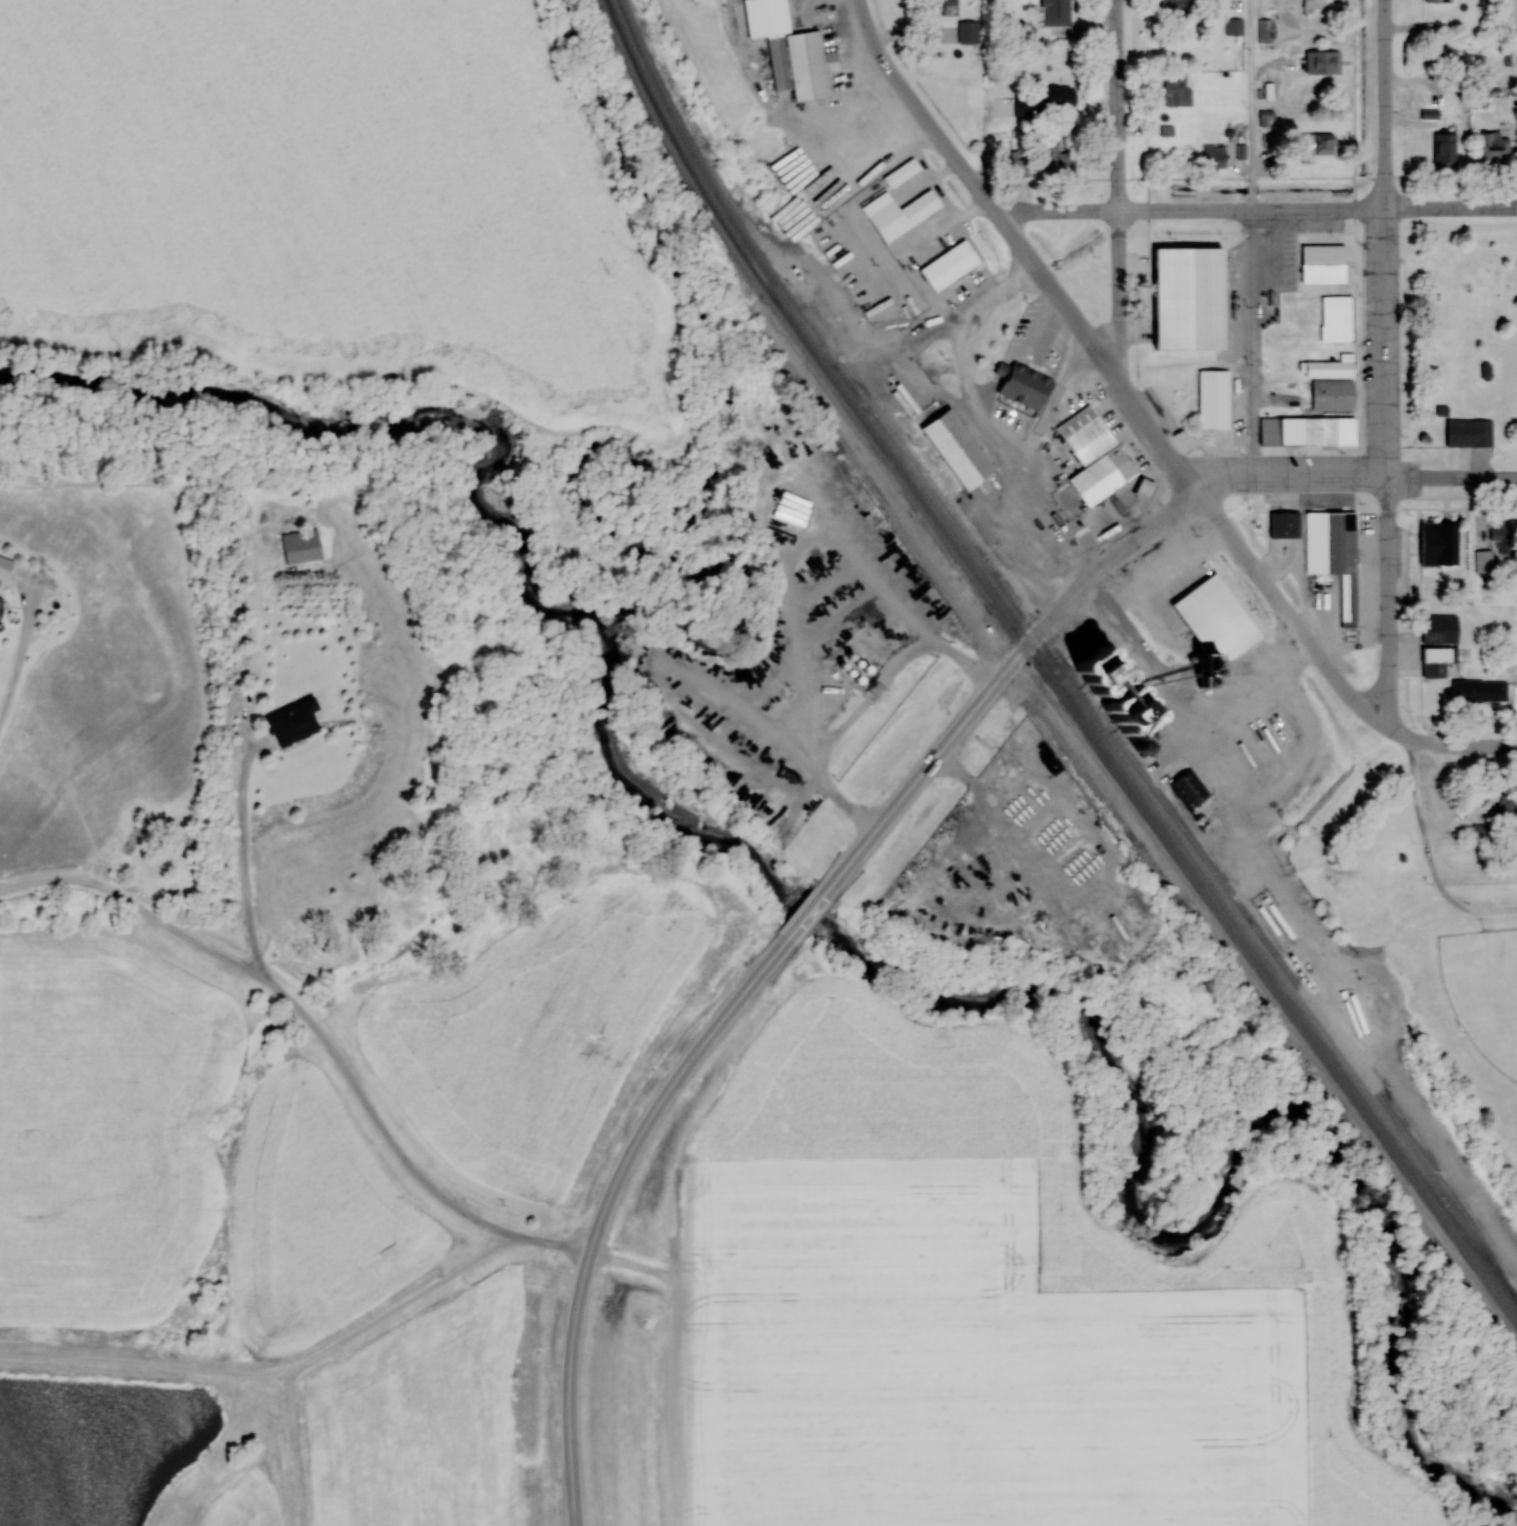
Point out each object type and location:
building: (1436, 1)
building: (1056, 4)
building: (1320, 4)
building: (946, 5)
building: (1175, 6)
building: (1234, 27)
building: (1266, 31)
building: (1323, 63)
building: (801, 65)
building: (1178, 91)
building: (1057, 99)
building: (1015, 106)
building: (1321, 148)
building: (1494, 149)
building: (1445, 151)
building: (1058, 158)
building: (1215, 158)
building: (1020, 168)
building: (902, 174)
road: (1115, 189)
road: (1256, 210)
building: (899, 214)
road: (1382, 238)
building: (1329, 266)
building: (956, 267)
building: (1185, 296)
building: (1337, 320)
park: (1459, 328)
building: (1190, 332)
building: (1332, 368)
building: (1486, 371)
road: (1119, 378)
building: (1023, 384)
building: (1334, 396)
building: (1214, 400)
building: (1443, 411)
building: (1334, 432)
building: (1352, 432)
building: (1470, 434)
building: (958, 450)
building: (1095, 457)
road: (1290, 475)
road: (1451, 476)
building: (1146, 490)
building: (1285, 526)
building: (1502, 537)
building: (1440, 545)
building: (301, 547)
building: (1334, 554)
building: (1484, 562)
building: (1182, 573)
road: (1079, 585)
road: (1388, 603)
building: (1, 604)
building: (1441, 629)
railway: (1049, 661)
building: (1439, 661)
railway: (1044, 670)
building: (1478, 690)
building: (292, 722)
road: (1460, 745)
road: (1215, 767)
building: (1189, 788)
road: (902, 797)
building: (1508, 802)
road: (1422, 831)
railway: (1187, 834)
road: (814, 905)
road: (1492, 908)
road: (795, 927)
park: (1484, 991)
road: (605, 1206)

